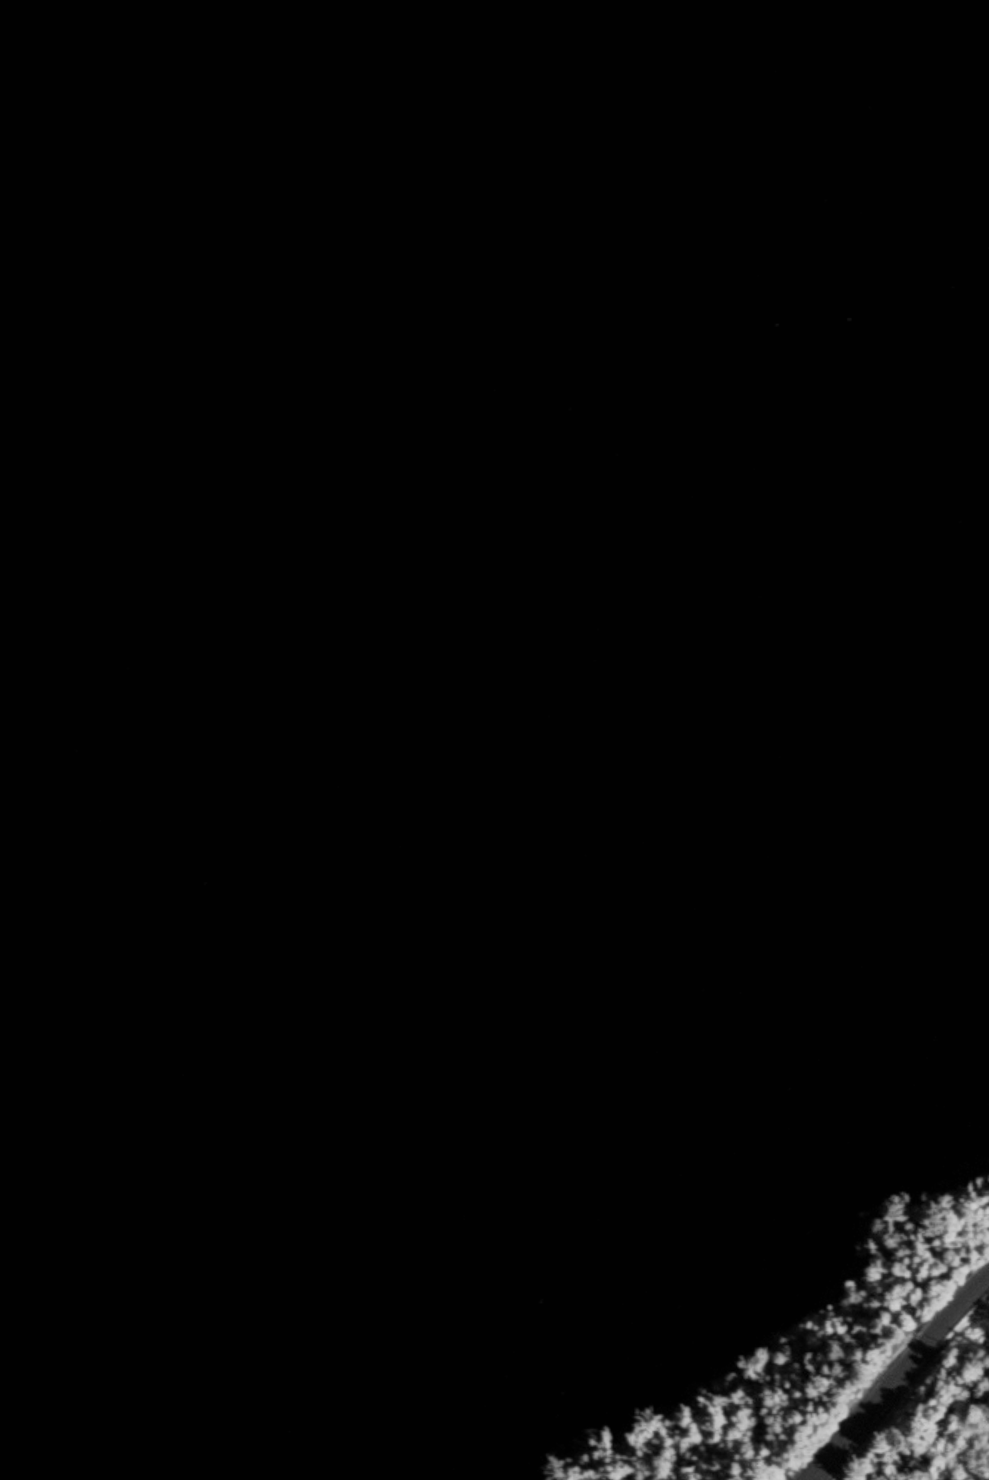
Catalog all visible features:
road: (900, 1380)

